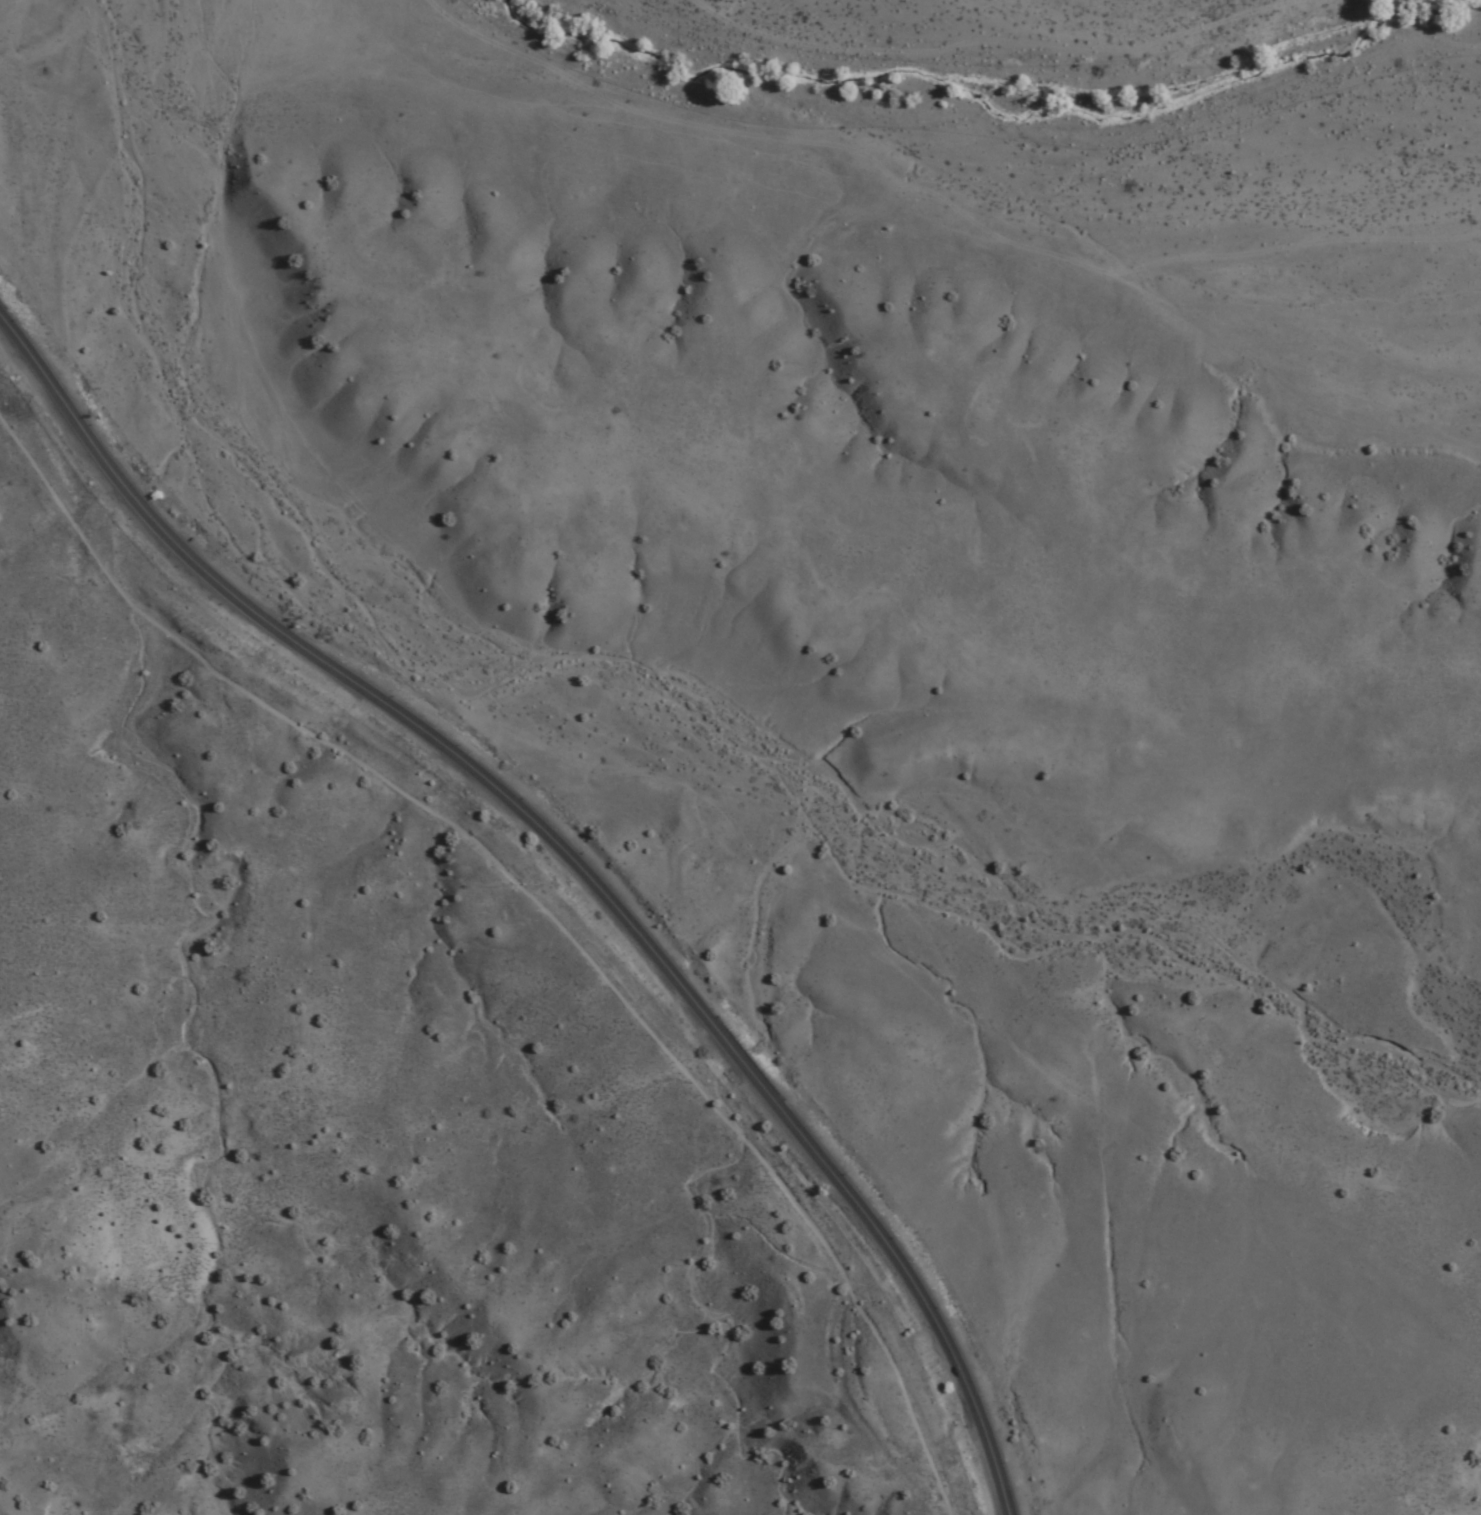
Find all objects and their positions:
river: (992, 112)
road: (570, 861)

